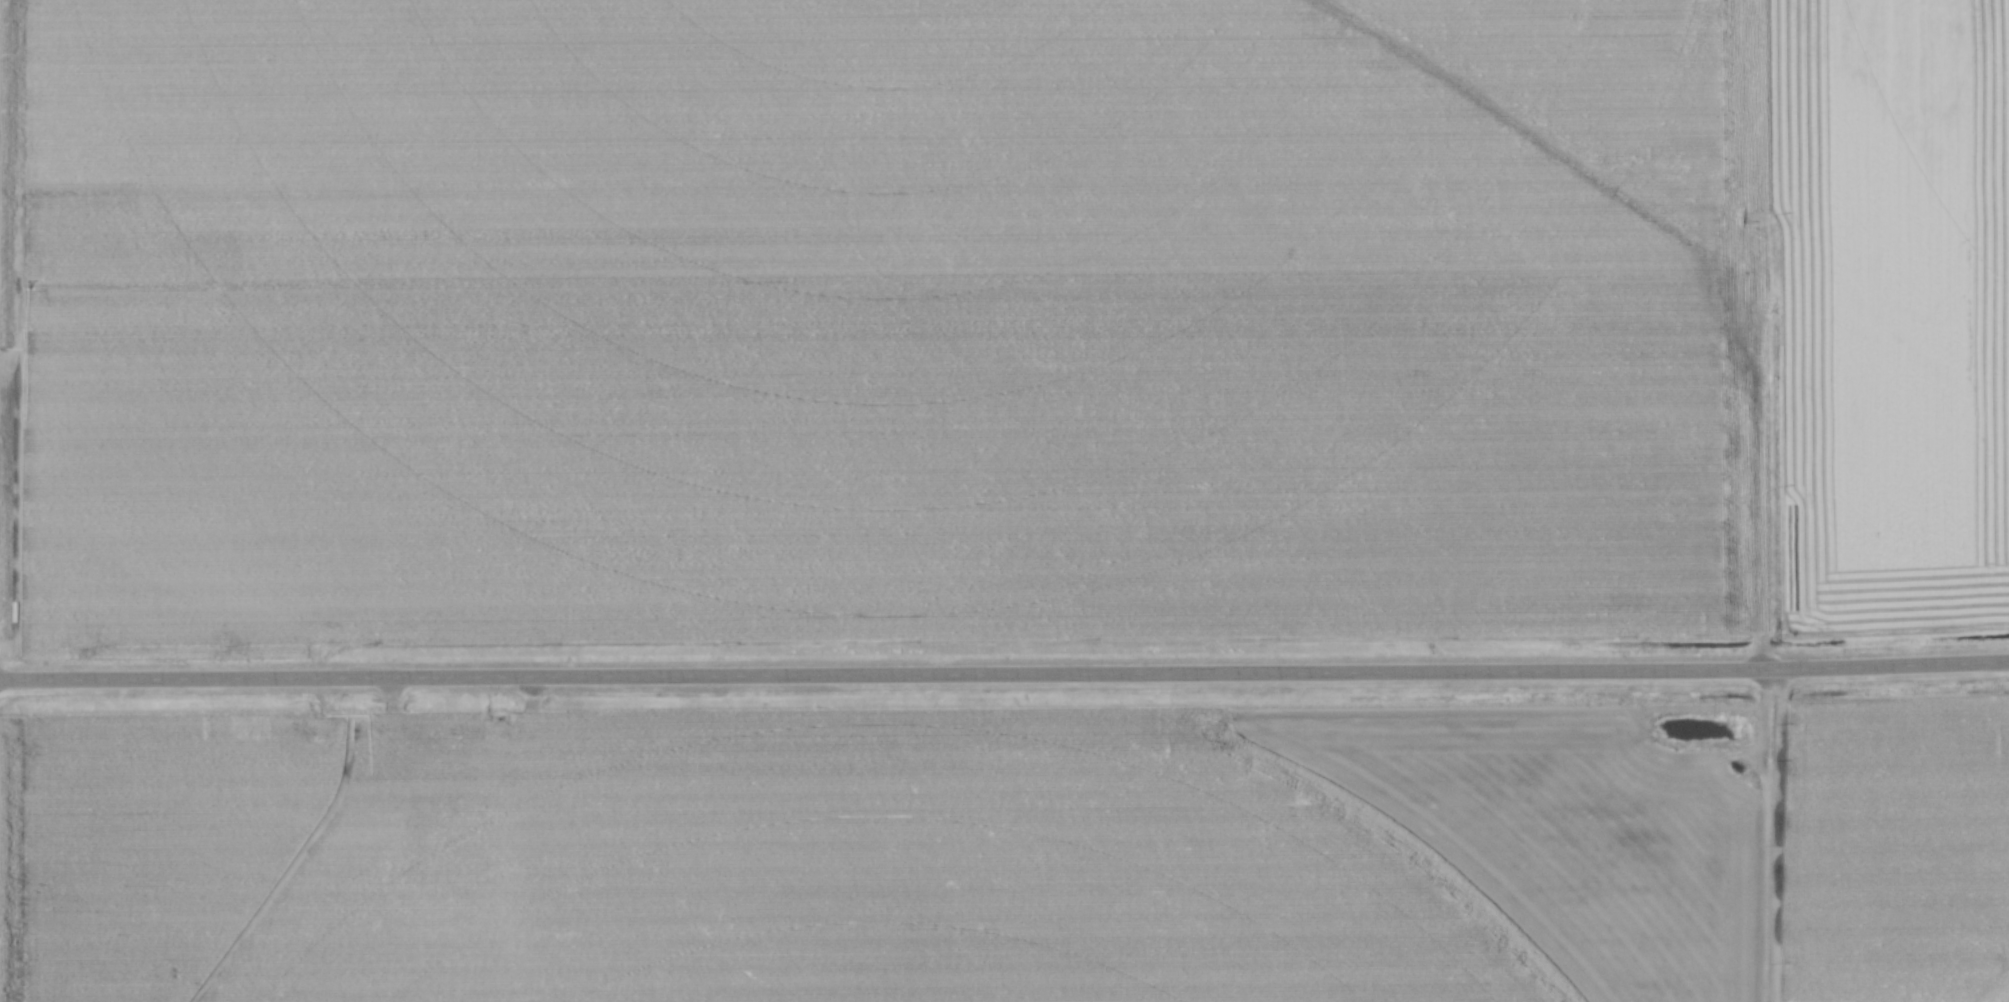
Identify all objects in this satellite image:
crop: (1893, 312)
crop: (864, 322)
road: (1004, 675)
crop: (996, 855)

